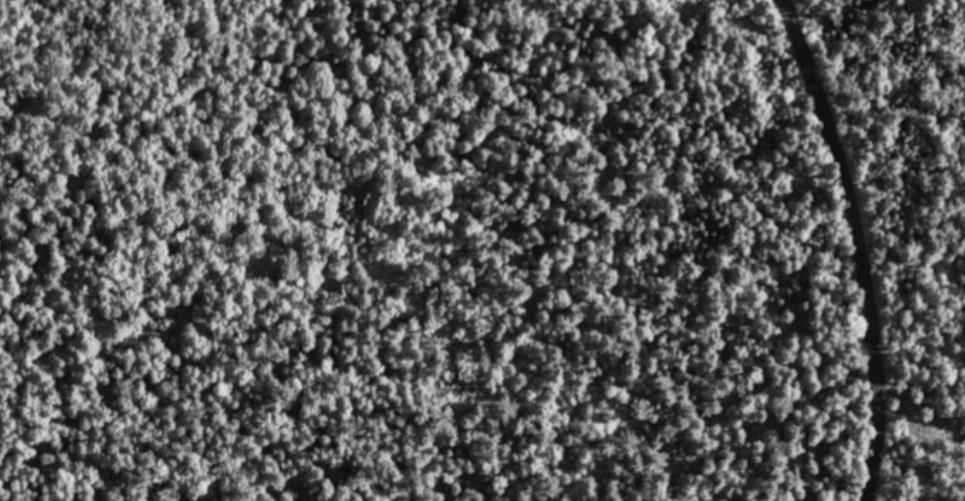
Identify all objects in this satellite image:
road: (860, 245)

